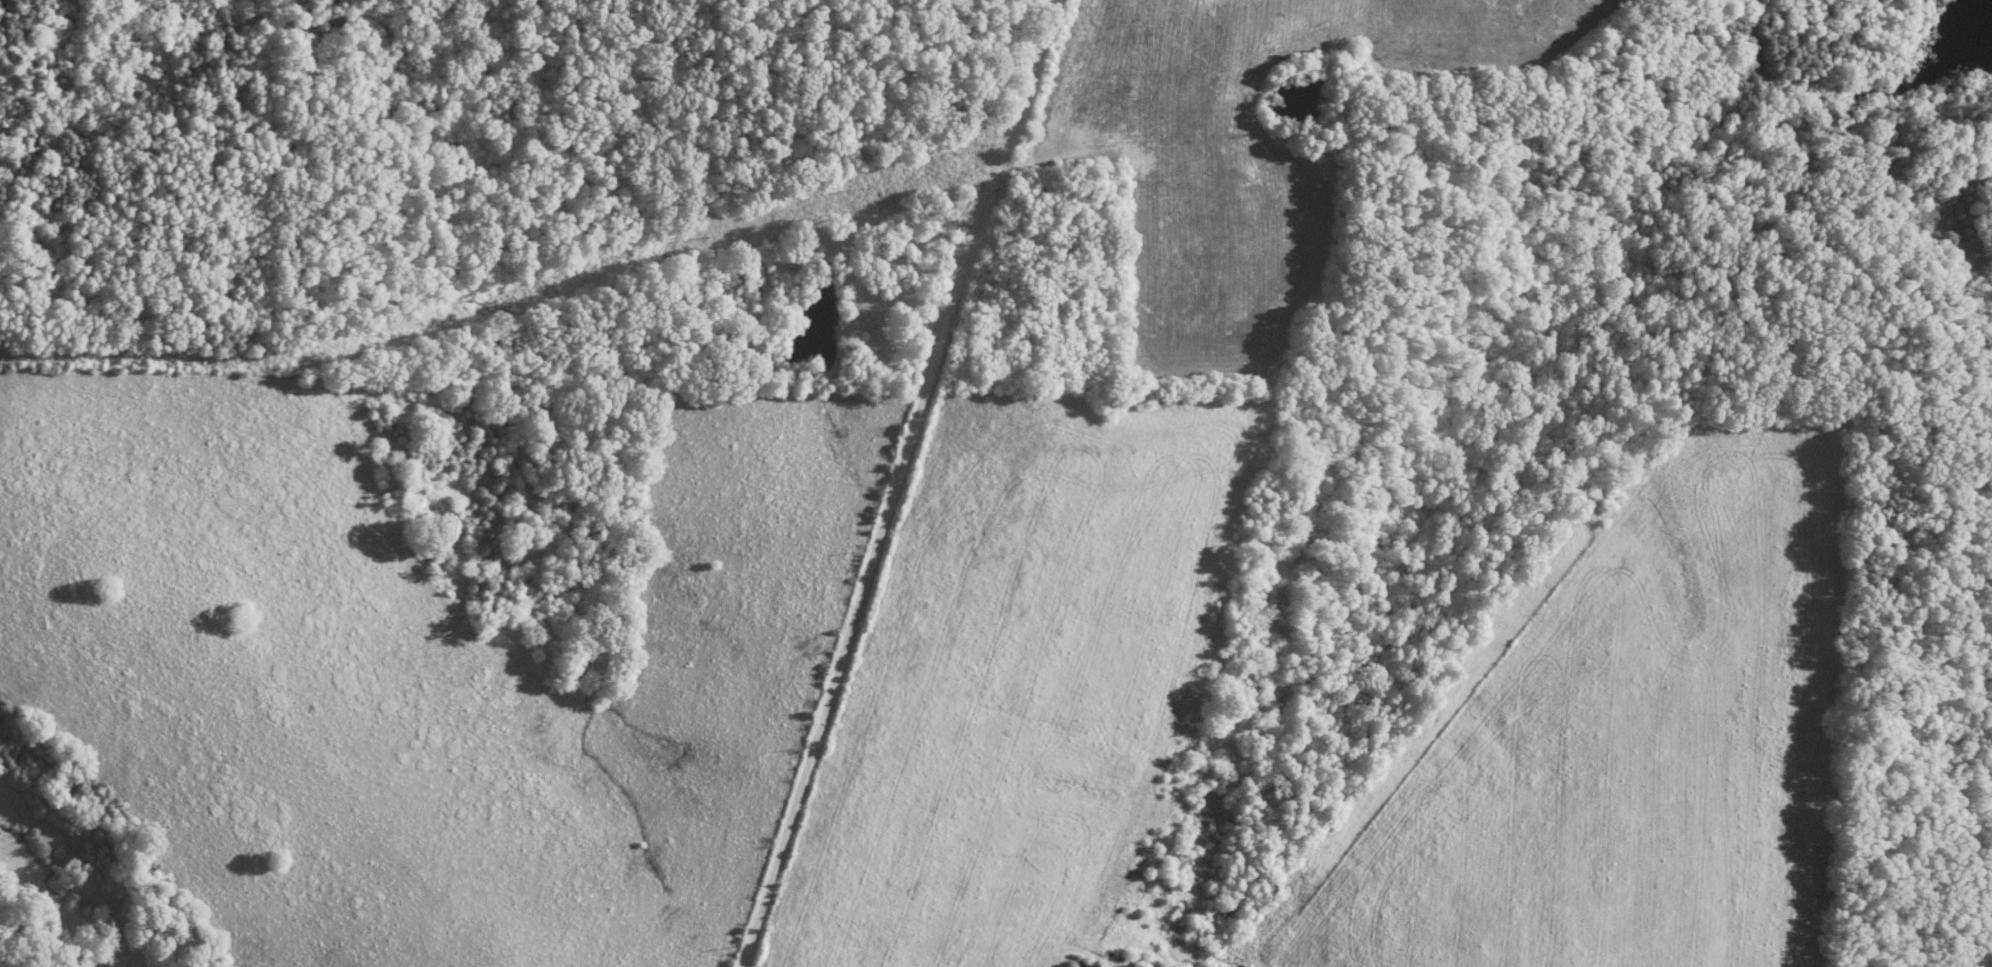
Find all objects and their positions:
road: (897, 482)

